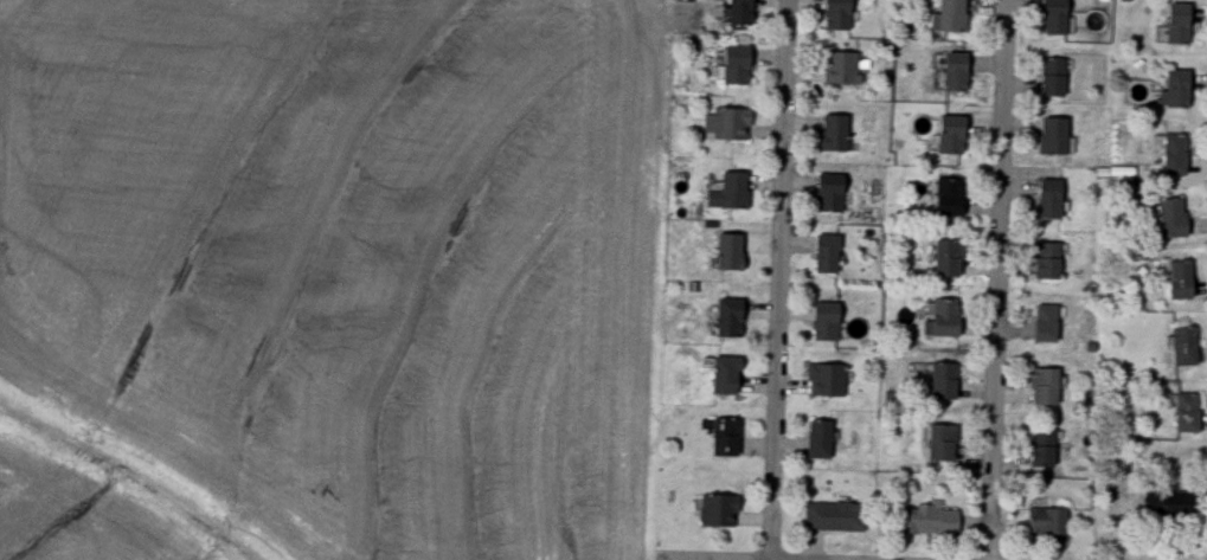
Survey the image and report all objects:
building: (741, 13)
building: (839, 15)
building: (951, 18)
building: (1057, 18)
building: (1179, 24)
building: (738, 66)
building: (840, 69)
building: (957, 72)
building: (1054, 78)
building: (1177, 89)
building: (728, 125)
building: (835, 134)
building: (952, 136)
building: (1054, 136)
building: (1175, 155)
building: (731, 193)
building: (830, 194)
building: (950, 198)
building: (1051, 200)
building: (1173, 219)
building: (731, 252)
building: (827, 255)
building: (948, 259)
building: (1049, 262)
road: (785, 279)
road: (996, 279)
building: (1181, 282)
building: (730, 318)
building: (946, 318)
building: (827, 323)
building: (1047, 324)
building: (1184, 348)
building: (726, 376)
building: (827, 381)
building: (944, 381)
building: (1046, 387)
building: (1187, 413)
building: (726, 438)
building: (820, 440)
building: (940, 443)
building: (1044, 449)
building: (1168, 508)
building: (719, 511)
building: (835, 517)
building: (929, 522)
building: (1047, 522)

